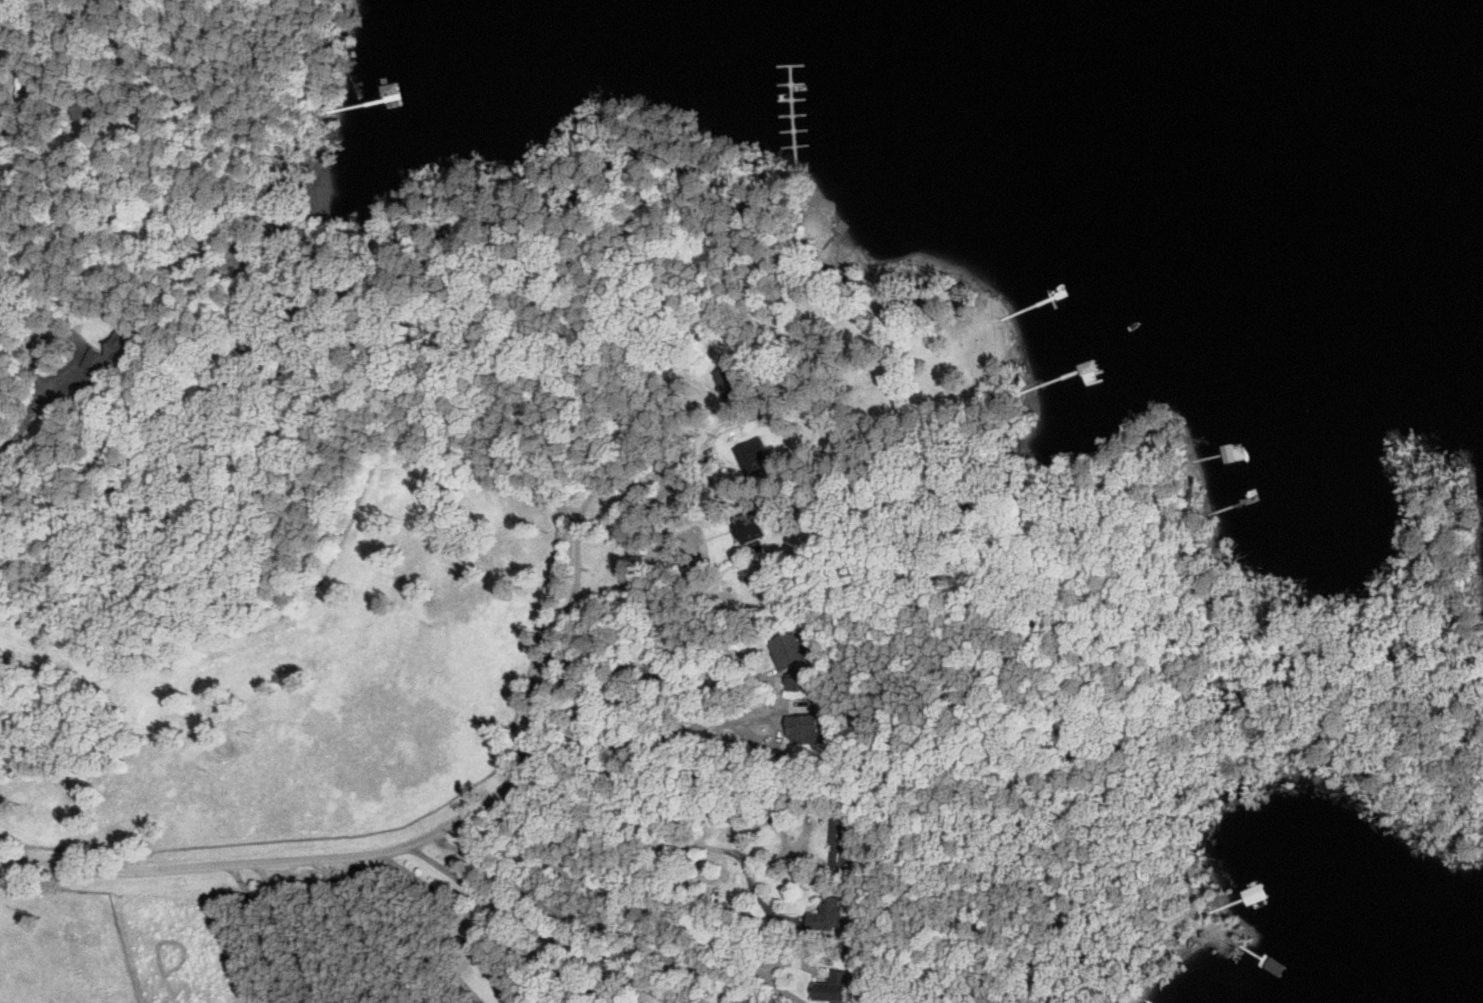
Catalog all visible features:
building: (78, 109)
building: (377, 109)
road: (8, 114)
building: (112, 352)
building: (728, 384)
road: (34, 414)
building: (745, 526)
building: (788, 649)
building: (796, 681)
road: (657, 694)
building: (805, 729)
road: (808, 828)
road: (681, 839)
building: (844, 843)
road: (361, 851)
building: (1267, 884)
road: (757, 895)
road: (655, 906)
building: (829, 915)
road: (493, 925)
road: (376, 928)
road: (414, 929)
road: (293, 932)
building: (830, 988)

